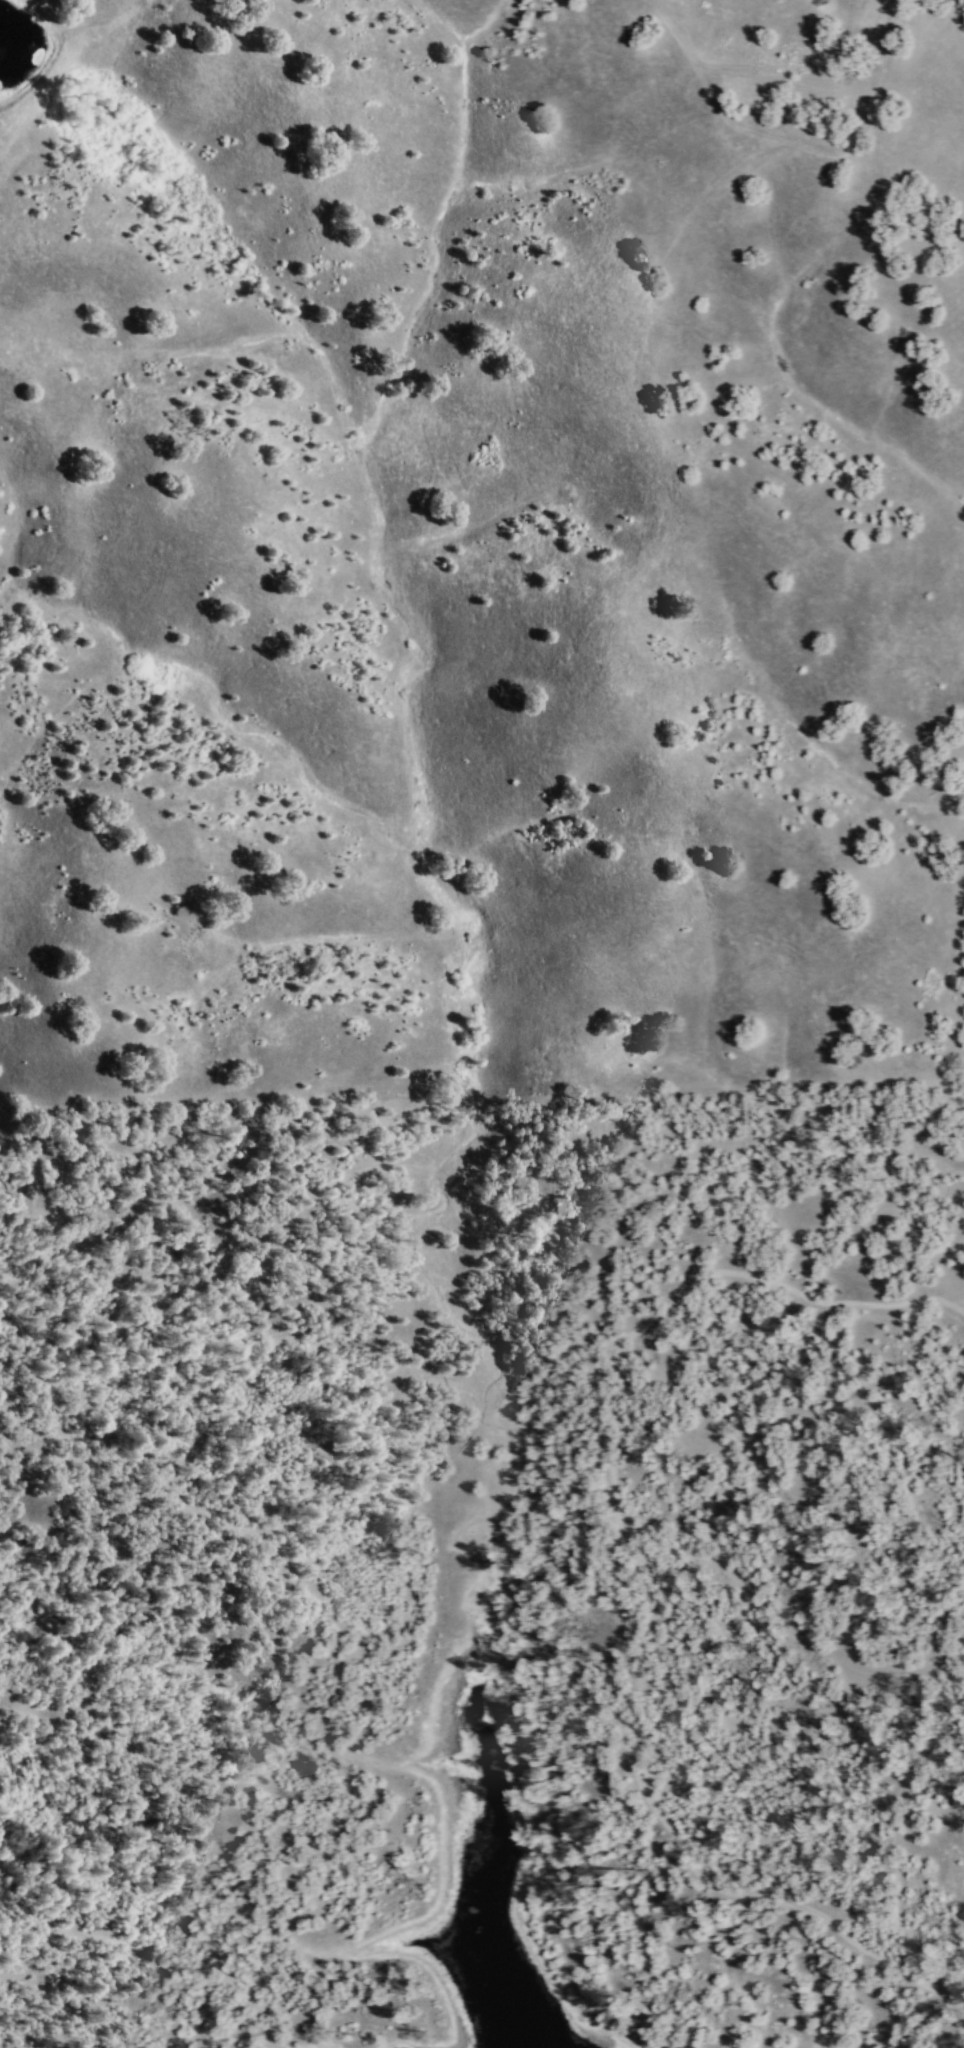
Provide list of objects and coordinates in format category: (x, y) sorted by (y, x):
road: (794, 142)

